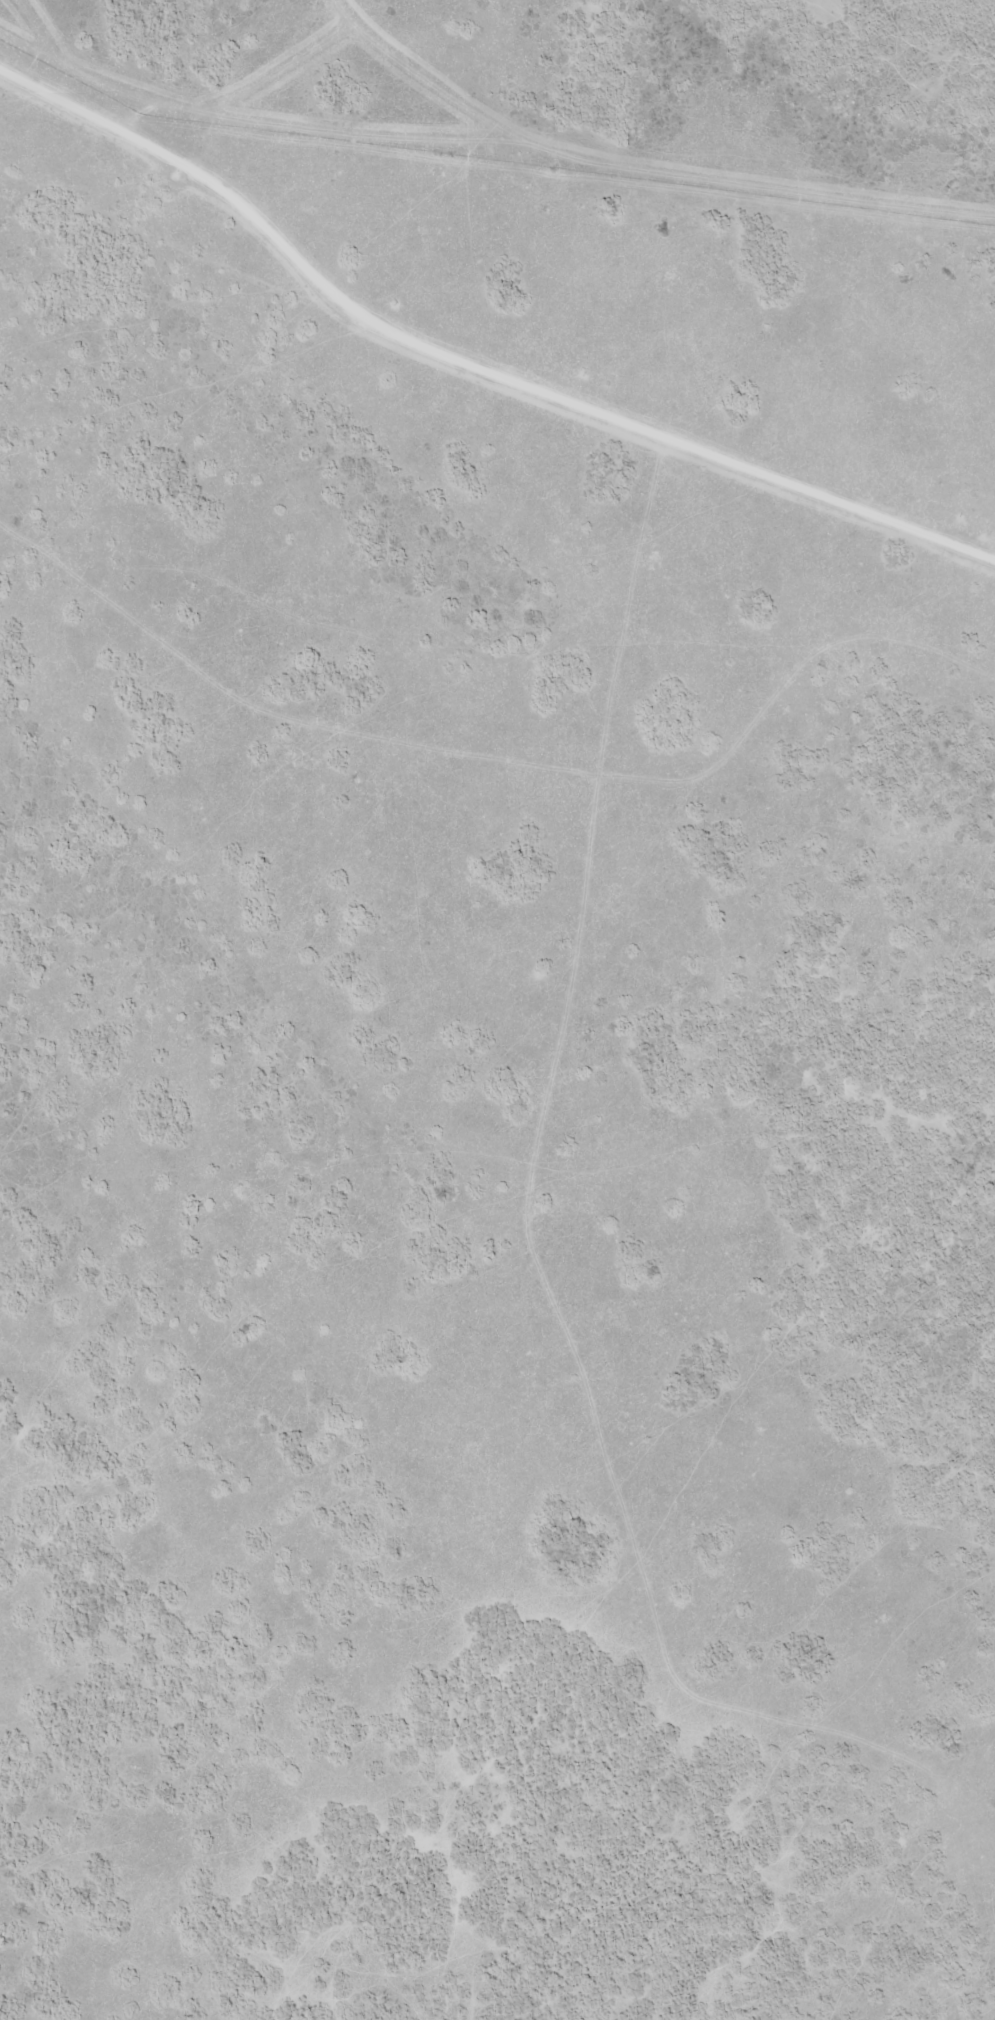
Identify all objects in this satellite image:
road: (485, 352)

